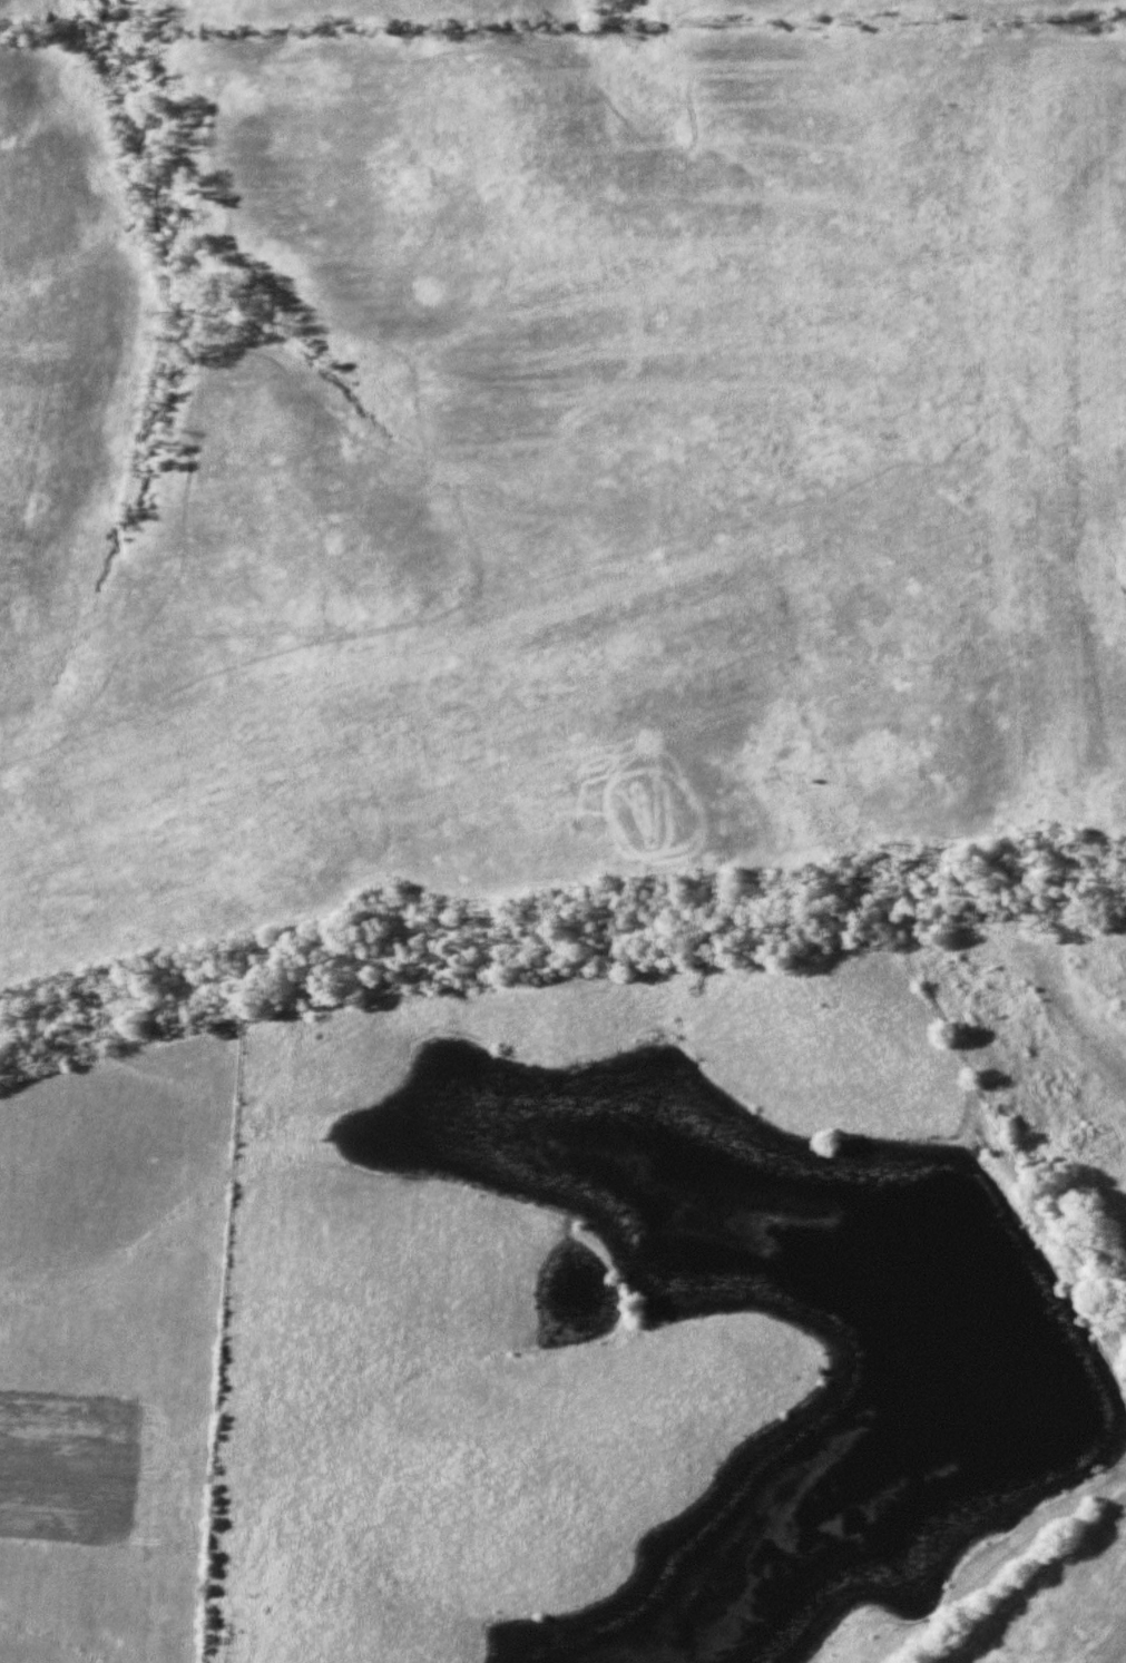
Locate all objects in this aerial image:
dam: (1058, 1280)

